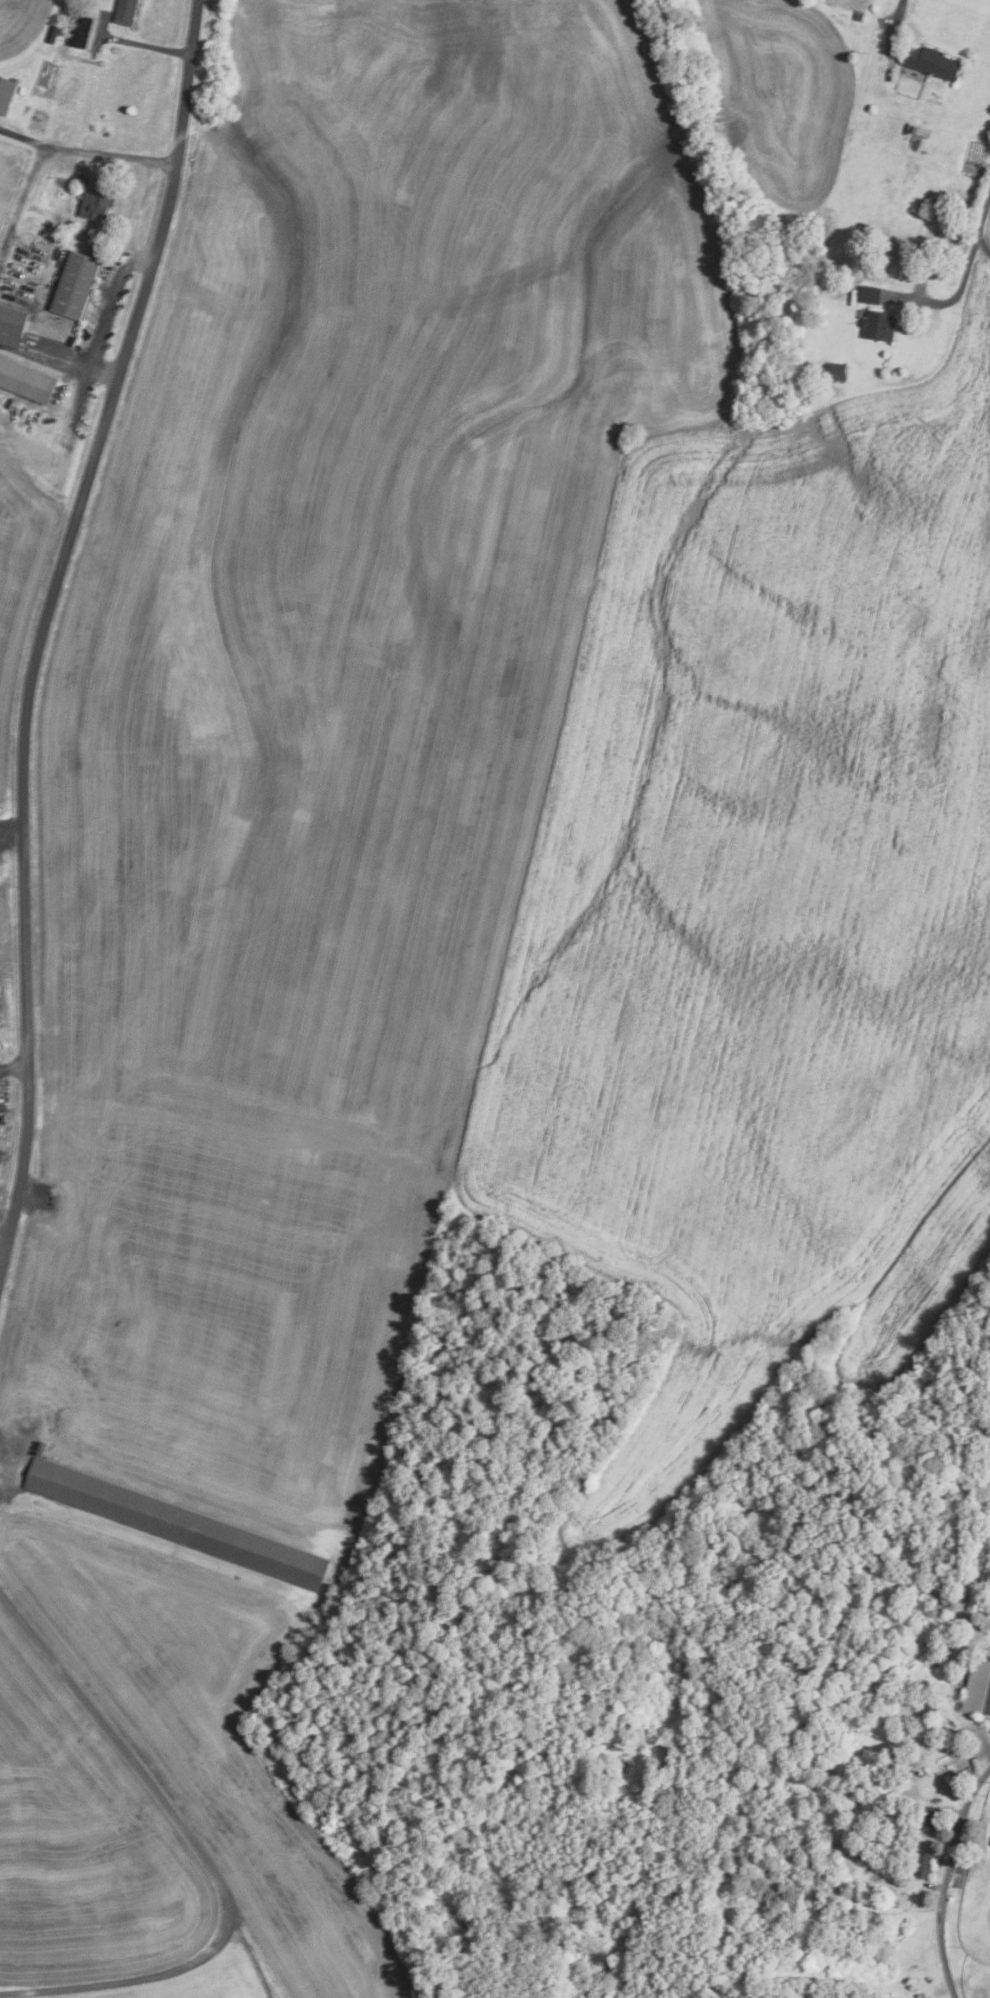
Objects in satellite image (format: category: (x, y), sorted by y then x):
building: (849, 4)
building: (124, 12)
road: (898, 14)
building: (858, 16)
building: (86, 33)
building: (52, 34)
road: (94, 48)
building: (931, 62)
building: (5, 94)
road: (87, 151)
road: (21, 199)
building: (96, 204)
road: (135, 261)
road: (964, 269)
road: (118, 277)
building: (75, 285)
road: (2, 289)
building: (870, 295)
building: (11, 326)
building: (878, 326)
building: (838, 372)
building: (26, 381)
crop: (17, 627)
road: (41, 629)
crop: (495, 788)
road: (14, 1067)
road: (4, 1240)
road: (13, 1452)
building: (177, 1524)
building: (977, 1689)
building: (930, 1713)
road: (153, 1789)
building: (928, 1818)
crop: (82, 1843)
building: (924, 1865)
road: (946, 1879)
building: (902, 1897)
road: (132, 1980)

